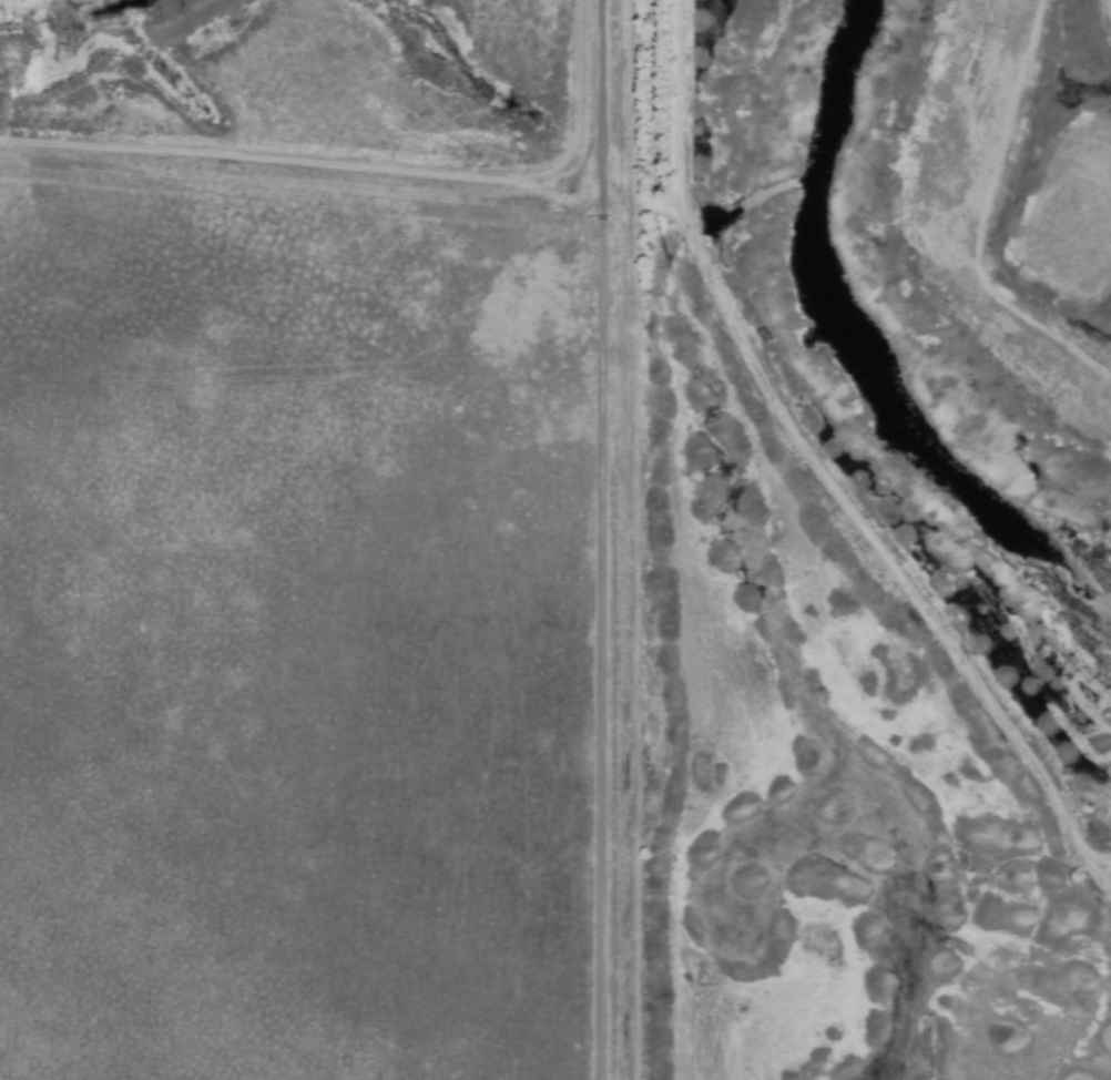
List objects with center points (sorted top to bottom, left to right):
road: (633, 110)
road: (671, 203)
road: (680, 213)
road: (675, 218)
road: (600, 540)
road: (873, 546)
road: (1090, 856)
road: (1092, 869)

